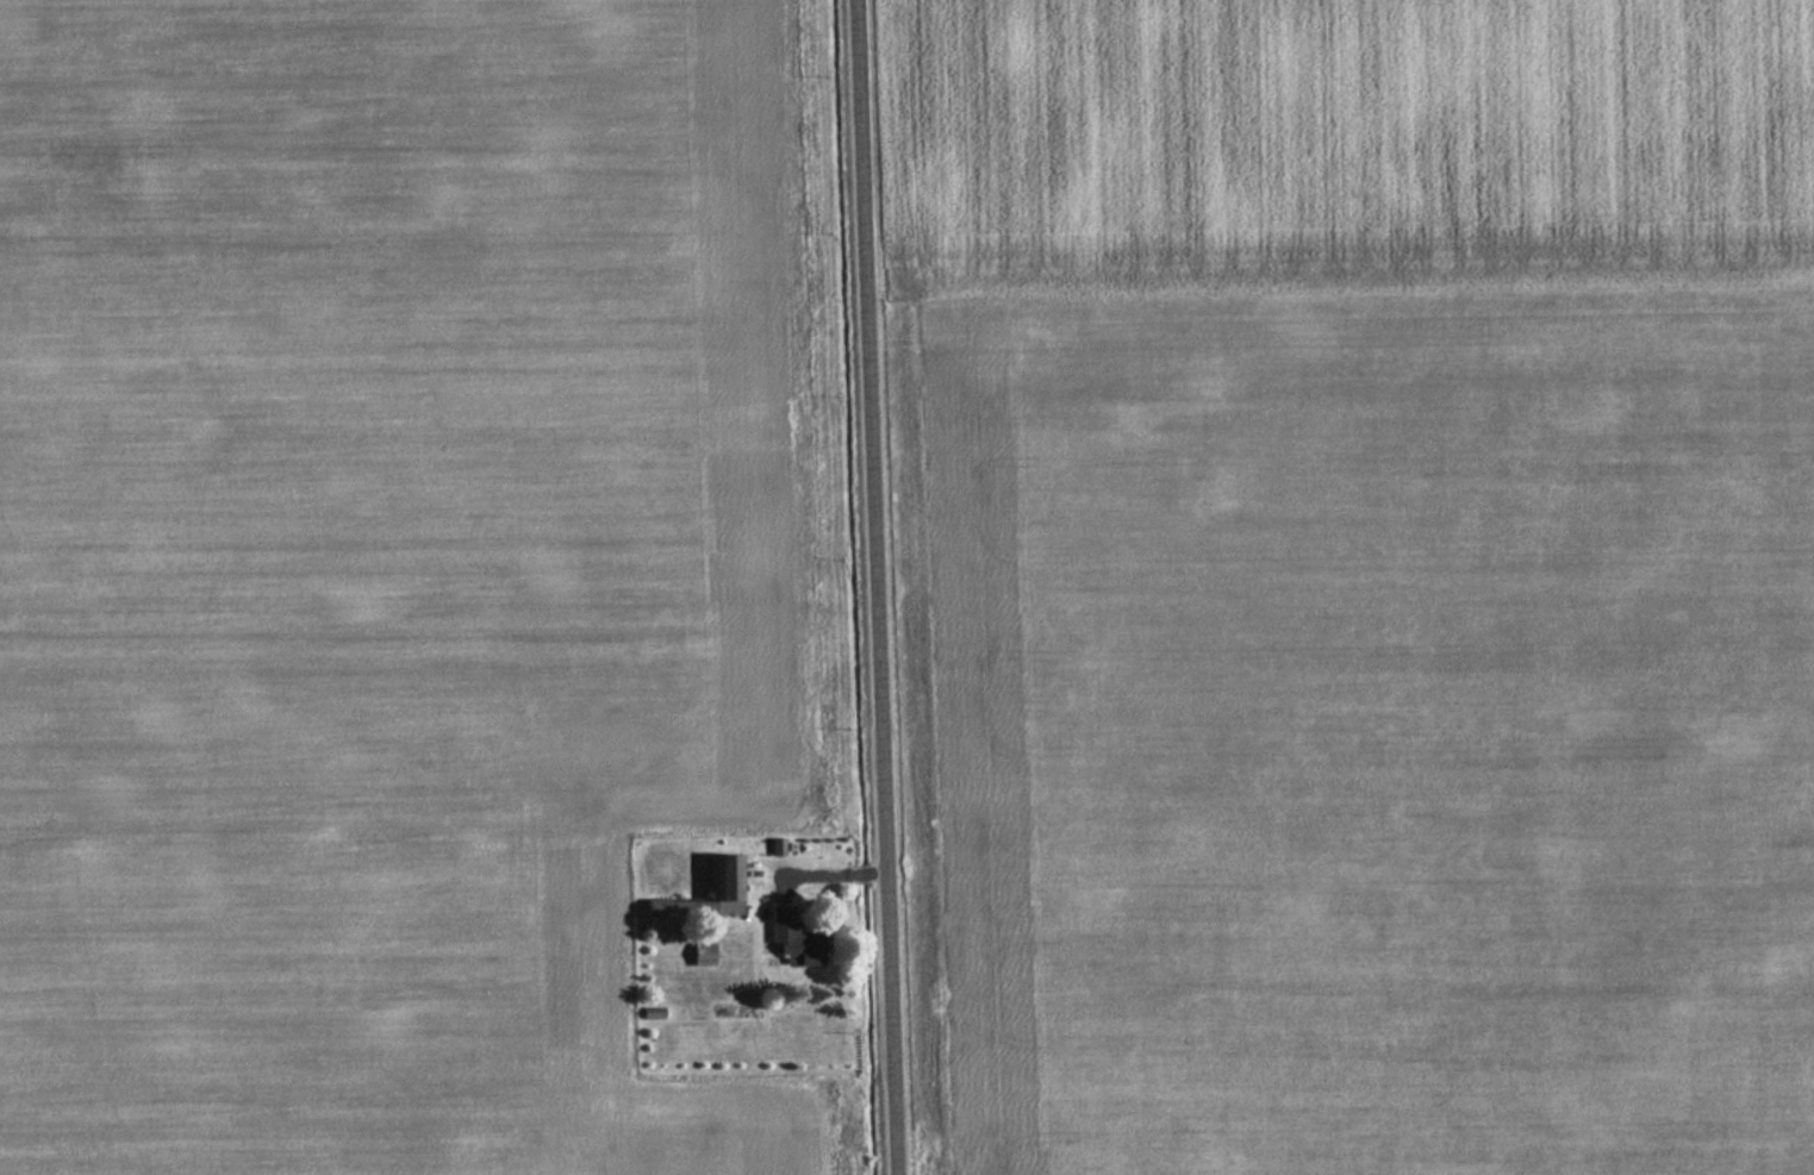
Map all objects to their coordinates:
crop: (389, 571)
crop: (1369, 581)
road: (881, 587)
building: (792, 940)

